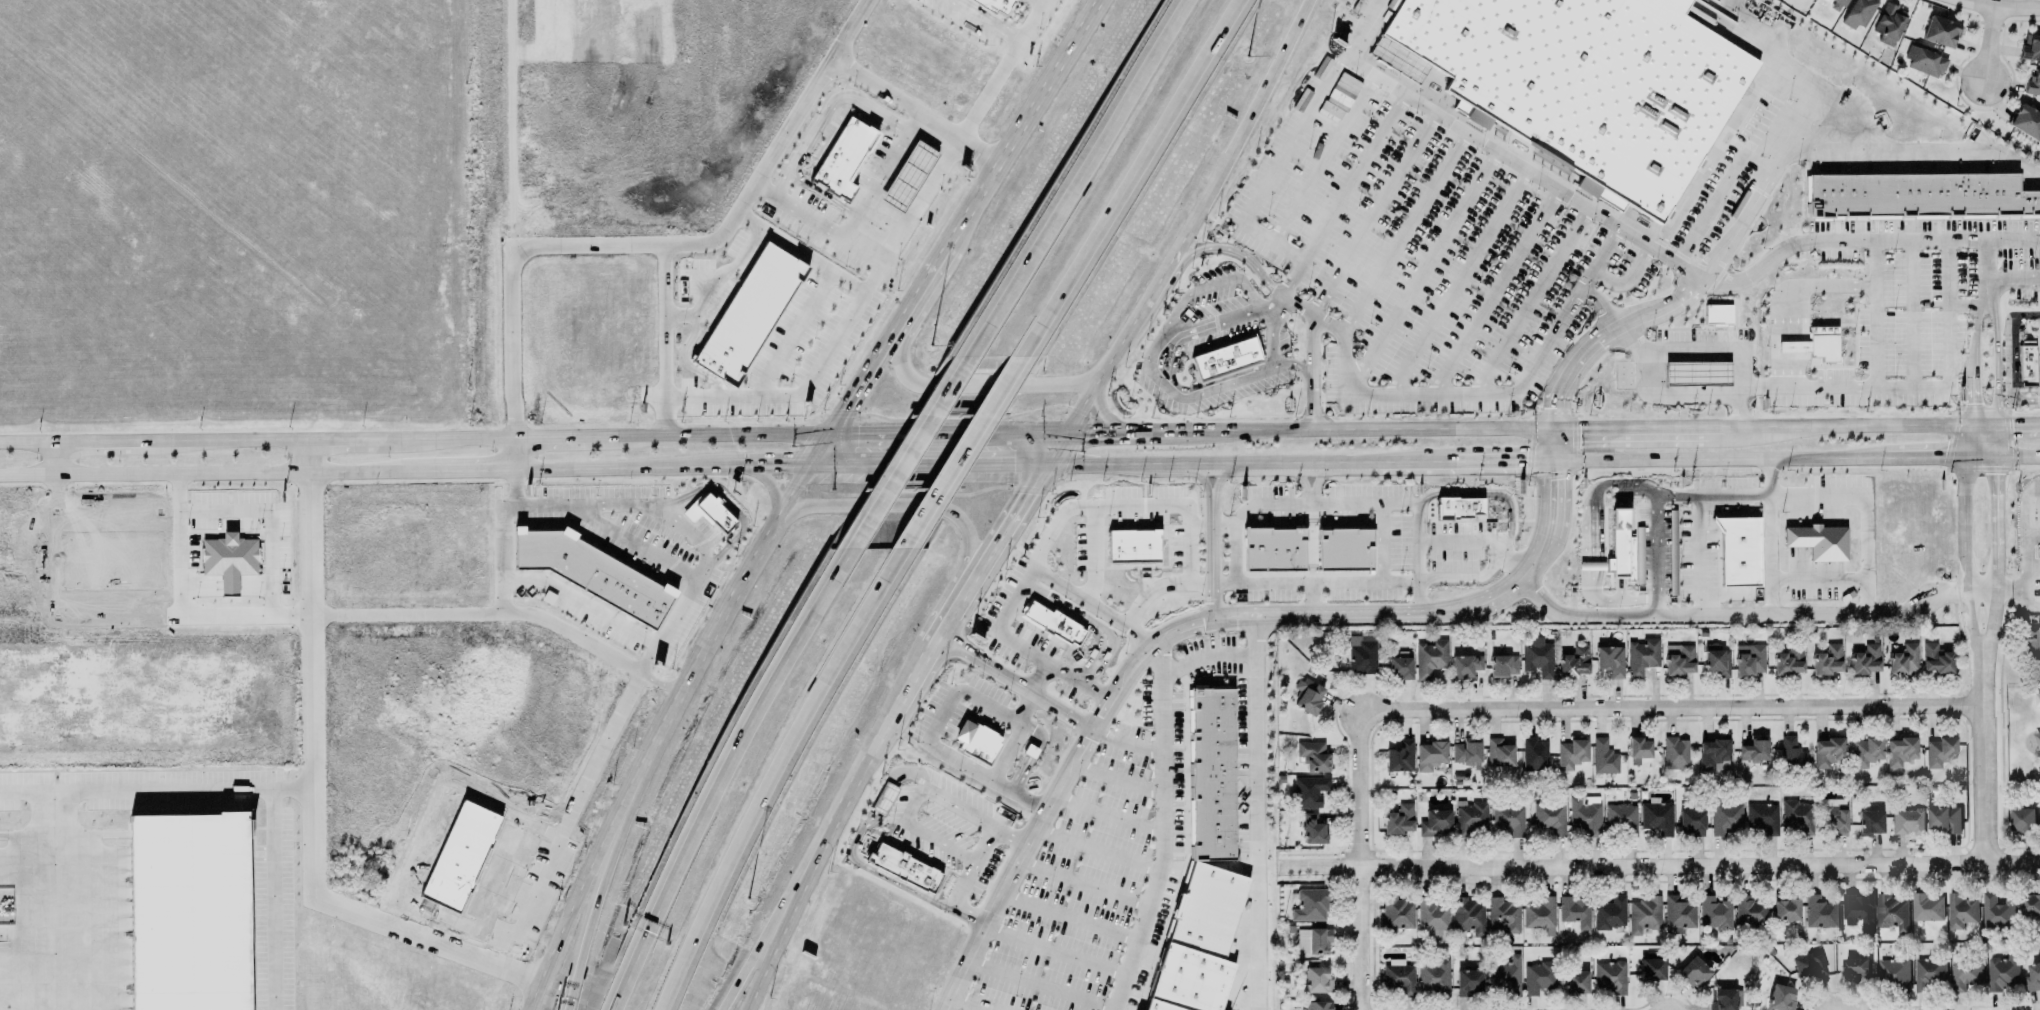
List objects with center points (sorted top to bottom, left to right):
road: (1041, 0)
road: (1042, 0)
building: (1837, 3)
building: (994, 5)
road: (1996, 7)
building: (1856, 15)
road: (984, 21)
building: (1887, 27)
road: (1361, 29)
building: (1939, 34)
road: (1984, 45)
building: (2027, 50)
building: (1920, 63)
road: (1001, 70)
building: (2029, 84)
road: (1389, 85)
building: (1586, 85)
road: (913, 110)
road: (824, 114)
road: (1250, 116)
road: (1021, 122)
building: (2024, 125)
road: (1788, 127)
building: (841, 155)
road: (1912, 155)
road: (1318, 157)
road: (1731, 169)
building: (907, 173)
gas station: (907, 173)
road: (1126, 177)
road: (1073, 178)
road: (1353, 178)
building: (1917, 199)
road: (1368, 211)
road: (851, 217)
parking lot: (1463, 227)
road: (1403, 233)
road: (1862, 241)
road: (663, 247)
road: (1177, 247)
road: (1231, 249)
road: (860, 250)
road: (1424, 267)
road: (1945, 273)
road: (872, 278)
road: (2010, 280)
road: (1457, 283)
road: (1206, 287)
road: (722, 288)
road: (919, 289)
road: (1774, 289)
road: (1981, 291)
road: (1494, 292)
road: (1148, 295)
road: (1532, 301)
road: (1596, 303)
parking lot: (1908, 304)
building: (745, 309)
parking lot: (1216, 309)
road: (1869, 313)
road: (1640, 314)
road: (1311, 315)
parking lot: (2036, 315)
road: (1907, 316)
road: (1266, 317)
building: (1715, 317)
road: (793, 334)
road: (1271, 335)
road: (1780, 336)
road: (1788, 336)
road: (1795, 336)
road: (1968, 337)
road: (660, 341)
parking lot: (1276, 344)
building: (1821, 346)
road: (1113, 352)
parking lot: (1676, 355)
road: (2002, 357)
building: (1226, 358)
road: (1941, 364)
road: (1989, 364)
road: (1172, 365)
building: (2023, 368)
parking lot: (2036, 368)
road: (1311, 372)
road: (1157, 377)
building: (1695, 377)
gas station: (1695, 377)
road: (859, 383)
road: (1820, 385)
road: (1558, 386)
road: (973, 387)
road: (1178, 387)
parking lot: (1207, 388)
road: (1498, 391)
road: (1721, 396)
road: (792, 397)
road: (1968, 401)
traffic signals: (1968, 404)
road: (1077, 407)
traffic signals: (1554, 408)
traffic signals: (842, 410)
road: (1730, 412)
road: (1100, 420)
road: (2001, 425)
traffic signals: (2004, 425)
road: (1847, 426)
road: (1642, 427)
traffic signals: (1572, 428)
road: (1347, 429)
road: (714, 434)
traffic signals: (851, 434)
road: (918, 434)
road: (1035, 434)
traffic signals: (1082, 434)
road: (1100, 434)
road: (557, 436)
road: (452, 437)
road: (346, 438)
road: (222, 440)
road: (99, 441)
road: (1960, 441)
road: (1989, 441)
road: (26, 442)
road: (1553, 444)
road: (818, 448)
road: (1051, 448)
road: (511, 451)
road: (906, 451)
road: (958, 451)
road: (2014, 456)
road: (1936, 457)
traffic signals: (1937, 457)
road: (53, 458)
road: (1718, 459)
road: (1486, 460)
traffic signals: (1517, 460)
road: (946, 462)
traffic signals: (1006, 462)
road: (1086, 462)
road: (1276, 462)
road: (772, 463)
traffic signals: (778, 463)
road: (830, 463)
road: (623, 464)
road: (470, 467)
road: (214, 472)
traffic signals: (1989, 474)
road: (1199, 478)
road: (1218, 478)
road: (1317, 478)
road: (1298, 479)
traffic signals: (1552, 480)
road: (768, 484)
road: (792, 489)
road: (1640, 490)
parking lot: (1832, 493)
traffic signals: (1024, 494)
road: (1485, 495)
road: (1832, 495)
road: (1552, 497)
road: (1082, 508)
building: (1457, 511)
building: (709, 512)
road: (951, 512)
road: (1989, 512)
road: (2024, 512)
road: (266, 520)
road: (1377, 523)
parking lot: (1128, 524)
parking lot: (1702, 531)
road: (1765, 536)
road: (1181, 539)
road: (1412, 539)
road: (1456, 541)
parking lot: (1439, 542)
road: (630, 543)
building: (1618, 544)
building: (1815, 545)
road: (989, 550)
building: (1132, 550)
building: (1273, 553)
building: (1344, 554)
building: (1673, 554)
building: (1738, 554)
building: (229, 555)
road: (1231, 555)
road: (1696, 556)
road: (1308, 558)
road: (497, 559)
road: (1209, 559)
road: (1589, 569)
building: (589, 570)
parking lot: (2025, 572)
road: (2021, 575)
road: (1456, 578)
road: (1813, 580)
road: (1959, 581)
road: (1195, 583)
parking lot: (1812, 583)
road: (2030, 599)
road: (577, 600)
road: (1607, 600)
road: (726, 606)
road: (174, 611)
road: (1750, 614)
road: (391, 615)
road: (1072, 622)
road: (1087, 624)
building: (1052, 626)
road: (1982, 636)
parking lot: (1025, 639)
road: (1154, 642)
building: (2030, 647)
road: (925, 656)
building: (1362, 656)
building: (1430, 656)
building: (1538, 656)
building: (1642, 656)
building: (1827, 659)
building: (1935, 659)
building: (1610, 660)
building: (1716, 660)
building: (1748, 660)
building: (1865, 660)
building: (1903, 660)
building: (1574, 662)
building: (1788, 662)
building: (1464, 663)
building: (1502, 663)
road: (643, 664)
building: (1399, 668)
building: (2038, 679)
road: (1072, 682)
road: (657, 686)
road: (1024, 696)
building: (1308, 697)
road: (902, 698)
road: (1042, 702)
park: (2012, 704)
road: (1666, 709)
building: (224, 710)
parking lot: (957, 716)
building: (972, 743)
building: (1638, 746)
building: (1754, 749)
road: (1002, 750)
building: (1713, 750)
building: (1900, 751)
building: (1571, 752)
building: (1827, 752)
building: (1865, 752)
building: (1939, 752)
road: (646, 753)
building: (1429, 753)
building: (1466, 753)
building: (1498, 753)
building: (1533, 753)
building: (1791, 753)
road: (1024, 754)
building: (1312, 754)
building: (1676, 754)
building: (1399, 755)
building: (1603, 756)
road: (721, 772)
road: (862, 772)
road: (790, 777)
building: (1212, 778)
road: (1110, 779)
road: (1977, 784)
road: (133, 789)
road: (876, 790)
building: (1309, 791)
building: (884, 798)
road: (1252, 811)
building: (1585, 813)
building: (1834, 814)
road: (1101, 815)
building: (1549, 815)
building: (1797, 815)
building: (1657, 816)
building: (1762, 816)
building: (1398, 818)
building: (1470, 818)
building: (1622, 818)
building: (1726, 818)
building: (1508, 819)
building: (2022, 819)
road: (896, 820)
building: (1691, 820)
building: (1869, 820)
building: (1944, 820)
building: (1434, 821)
building: (1907, 821)
road: (1156, 827)
building: (1312, 829)
road: (1002, 836)
parking lot: (942, 837)
parking lot: (1120, 840)
building: (463, 849)
road: (1090, 850)
road: (1358, 861)
road: (849, 862)
road: (1659, 866)
building: (902, 871)
road: (277, 878)
road: (306, 883)
road: (1076, 885)
road: (52, 900)
building: (2029, 903)
building: (1310, 905)
building: (1857, 907)
building: (1926, 908)
building: (184, 909)
road: (573, 910)
road: (593, 910)
building: (1574, 910)
building: (1785, 910)
building: (1644, 911)
building: (1819, 911)
building: (1891, 911)
building: (1960, 911)
building: (1609, 912)
building: (1678, 912)
building: (1749, 912)
building: (1997, 912)
building: (1396, 913)
building: (1540, 914)
building: (1714, 914)
road: (777, 915)
road: (790, 915)
building: (1468, 916)
building: (1503, 916)
building: (1432, 917)
road: (1061, 918)
building: (1289, 928)
road: (1004, 939)
building: (1312, 939)
building: (1193, 945)
building: (1810, 965)
building: (1854, 966)
building: (1652, 969)
building: (1693, 972)
building: (2002, 972)
building: (1928, 973)
building: (1964, 973)
building: (1505, 974)
building: (1893, 974)
building: (1610, 976)
building: (2032, 976)
building: (1399, 977)
building: (1434, 977)
building: (1539, 977)
building: (1316, 979)
building: (1468, 982)
building: (1575, 982)
road: (1029, 986)
building: (1780, 997)
building: (1722, 998)
road: (958, 1005)
building: (1315, 1005)

